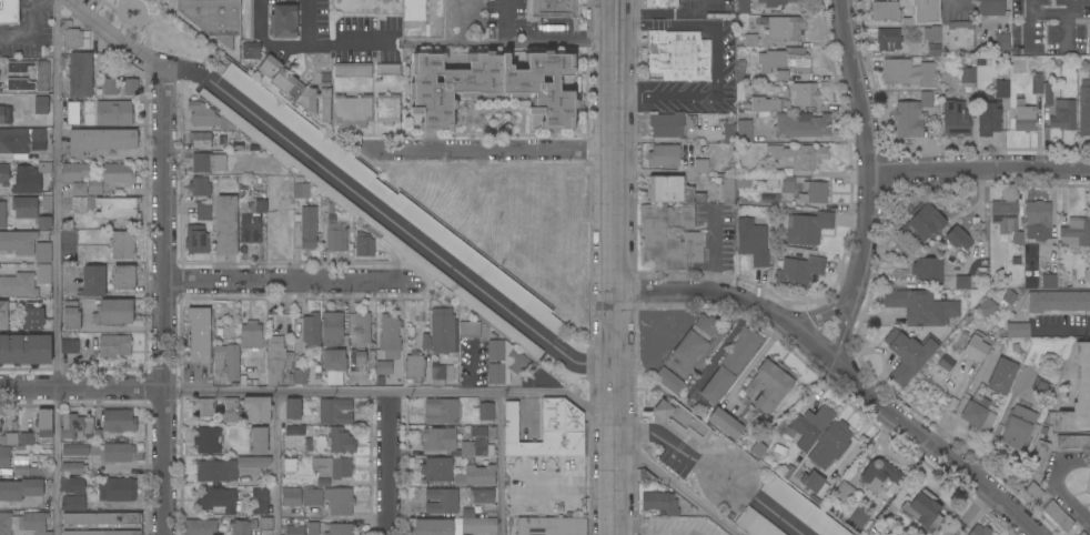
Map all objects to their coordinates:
building: (775, 2)
building: (662, 4)
road: (707, 4)
building: (743, 7)
building: (991, 8)
building: (555, 9)
building: (9, 11)
building: (885, 11)
road: (1051, 13)
building: (720, 16)
building: (214, 18)
building: (246, 20)
building: (283, 22)
road: (309, 22)
building: (909, 22)
road: (1030, 23)
building: (784, 28)
park: (154, 29)
parking lot: (527, 29)
road: (34, 34)
road: (113, 36)
building: (960, 36)
building: (71, 39)
road: (542, 39)
building: (932, 39)
building: (888, 40)
building: (750, 41)
building: (1089, 41)
building: (1003, 42)
road: (306, 43)
road: (615, 48)
building: (251, 50)
building: (679, 57)
road: (716, 60)
building: (784, 62)
building: (19, 67)
building: (269, 67)
building: (388, 69)
building: (353, 70)
building: (908, 72)
building: (42, 75)
building: (81, 75)
building: (781, 75)
building: (968, 75)
building: (740, 79)
building: (1037, 83)
building: (20, 84)
building: (111, 87)
building: (131, 87)
building: (492, 89)
building: (1002, 90)
building: (1048, 93)
building: (304, 94)
building: (804, 94)
building: (34, 99)
building: (40, 104)
building: (765, 105)
building: (388, 109)
building: (1084, 109)
building: (353, 111)
building: (73, 113)
building: (114, 113)
building: (4, 115)
building: (205, 115)
building: (1063, 115)
building: (911, 117)
building: (989, 117)
building: (1025, 117)
building: (956, 119)
building: (672, 124)
building: (804, 125)
building: (744, 131)
building: (729, 133)
building: (100, 141)
building: (21, 142)
building: (201, 142)
building: (236, 147)
road: (864, 147)
road: (495, 150)
building: (799, 155)
building: (664, 157)
building: (209, 163)
building: (702, 166)
building: (44, 168)
road: (979, 171)
building: (74, 172)
building: (4, 175)
building: (112, 178)
building: (27, 181)
building: (744, 182)
building: (773, 183)
building: (787, 184)
building: (200, 186)
building: (79, 190)
building: (729, 190)
building: (301, 191)
building: (673, 191)
building: (815, 192)
building: (393, 200)
building: (79, 205)
building: (24, 208)
building: (118, 209)
building: (203, 211)
building: (2, 214)
building: (1005, 215)
road: (980, 218)
road: (387, 220)
building: (1038, 220)
building: (251, 221)
building: (365, 221)
building: (925, 222)
building: (44, 223)
building: (226, 225)
road: (163, 226)
building: (309, 228)
building: (808, 229)
building: (1076, 232)
building: (336, 238)
building: (670, 238)
building: (198, 239)
building: (958, 239)
building: (19, 242)
building: (753, 242)
building: (365, 244)
building: (123, 245)
building: (43, 253)
road: (57, 266)
railway: (471, 267)
building: (929, 270)
building: (799, 272)
building: (43, 274)
building: (124, 280)
road: (283, 280)
building: (1049, 281)
building: (93, 282)
building: (962, 282)
building: (19, 285)
building: (976, 296)
building: (1009, 297)
building: (1056, 302)
building: (922, 307)
building: (987, 307)
building: (114, 312)
building: (4, 313)
road: (819, 313)
road: (615, 315)
building: (72, 316)
building: (34, 320)
building: (677, 322)
building: (333, 329)
building: (360, 329)
road: (844, 329)
building: (311, 330)
building: (470, 330)
building: (1016, 330)
building: (442, 331)
road: (1062, 331)
building: (200, 334)
building: (251, 335)
building: (390, 336)
building: (696, 340)
building: (426, 343)
building: (70, 346)
building: (114, 346)
building: (976, 349)
building: (26, 350)
building: (909, 354)
building: (276, 360)
building: (334, 360)
building: (361, 360)
building: (228, 362)
building: (505, 362)
building: (731, 365)
building: (415, 366)
building: (384, 369)
road: (844, 372)
building: (441, 374)
building: (301, 376)
building: (1002, 376)
building: (291, 381)
building: (381, 381)
building: (670, 382)
building: (770, 384)
road: (81, 386)
building: (1041, 386)
road: (391, 392)
building: (1079, 393)
building: (204, 407)
building: (293, 408)
building: (258, 410)
building: (231, 411)
building: (335, 411)
building: (442, 412)
building: (486, 412)
building: (978, 414)
building: (682, 421)
building: (44, 423)
building: (726, 423)
building: (75, 426)
building: (809, 426)
building: (1018, 426)
building: (548, 431)
building: (295, 432)
building: (99, 437)
building: (26, 438)
building: (11, 440)
building: (208, 441)
building: (259, 441)
building: (341, 442)
building: (453, 443)
building: (1072, 443)
building: (830, 445)
building: (75, 451)
building: (4, 457)
building: (1039, 457)
road: (163, 461)
road: (277, 463)
road: (387, 463)
road: (501, 464)
building: (290, 465)
building: (333, 467)
building: (73, 468)
building: (229, 468)
building: (437, 470)
building: (27, 471)
road: (711, 471)
building: (878, 475)
building: (476, 476)
building: (644, 476)
building: (813, 482)
road: (1057, 485)
building: (72, 486)
building: (21, 488)
road: (680, 488)
building: (118, 489)
building: (1033, 492)
building: (842, 493)
building: (312, 496)
building: (482, 496)
building: (291, 497)
building: (340, 501)
building: (218, 502)
building: (260, 502)
building: (442, 502)
building: (660, 503)
building: (73, 504)
building: (801, 507)
building: (925, 509)
building: (468, 514)
building: (1058, 516)
building: (101, 518)
building: (859, 518)
building: (32, 522)
building: (756, 523)
building: (6, 524)
building: (265, 524)
building: (243, 526)
building: (480, 526)
building: (552, 526)
building: (201, 527)
building: (433, 527)
building: (312, 528)
building: (295, 529)
building: (341, 529)
building: (980, 531)
building: (102, 533)
building: (42, 534)
building: (1081, 534)

